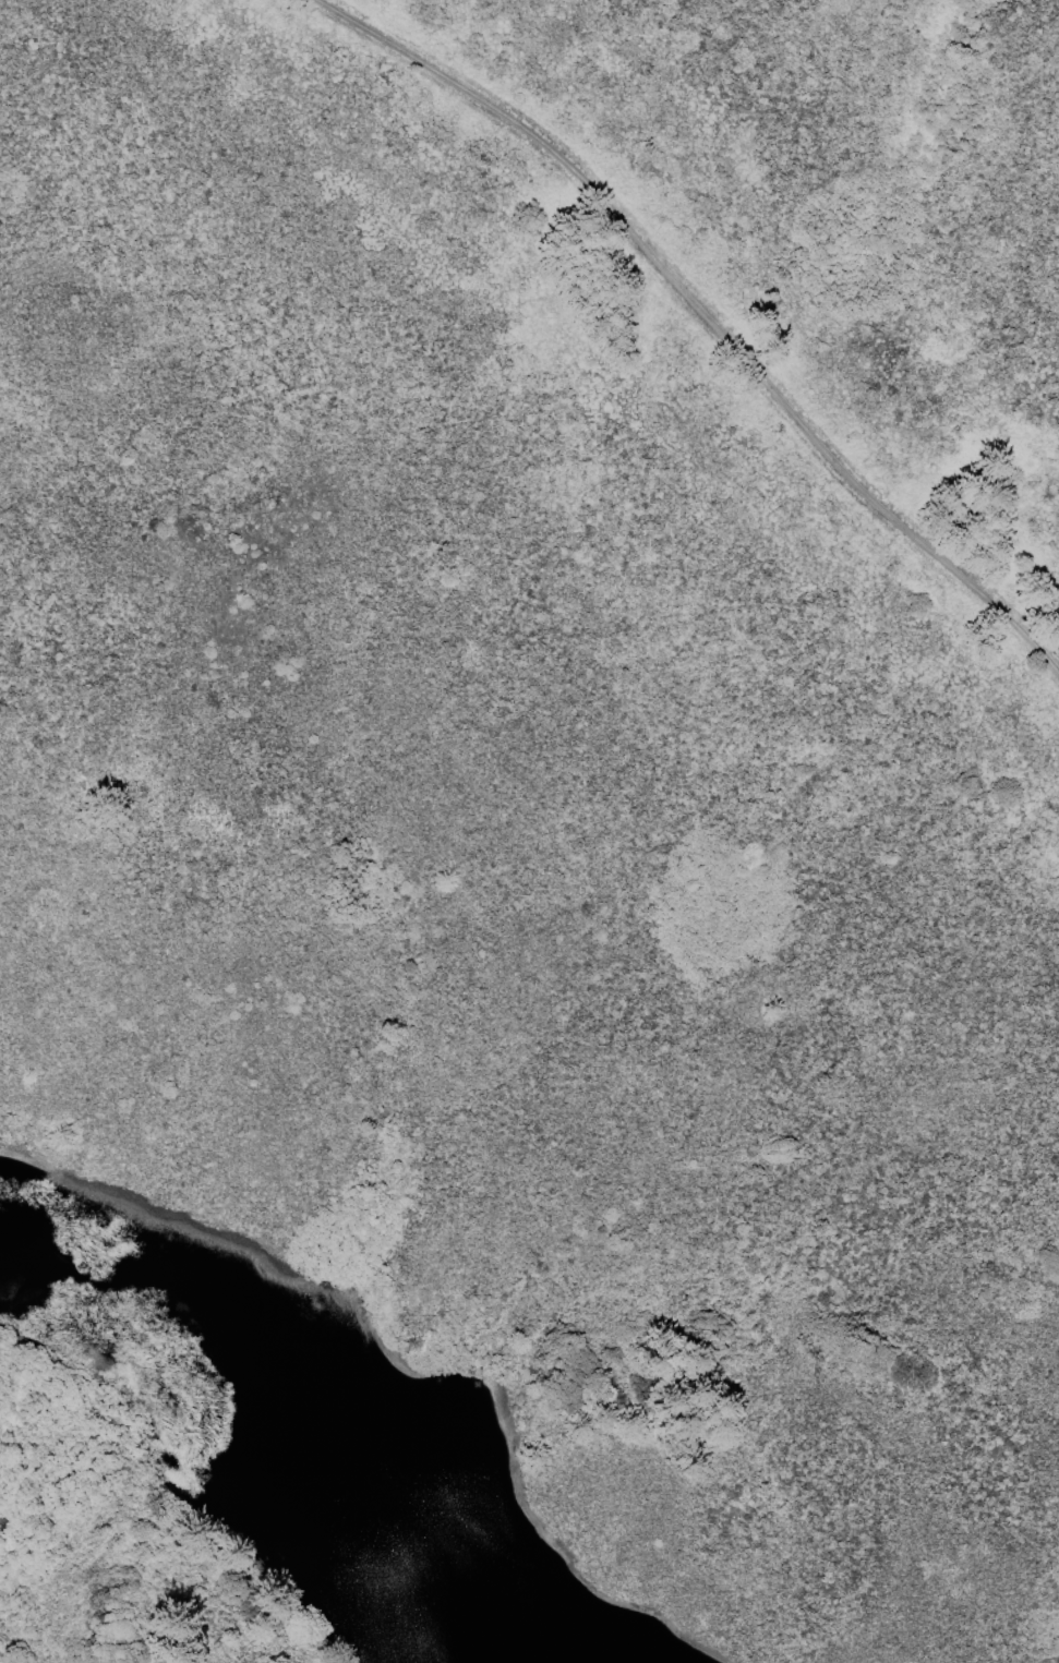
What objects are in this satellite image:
road: (713, 322)

